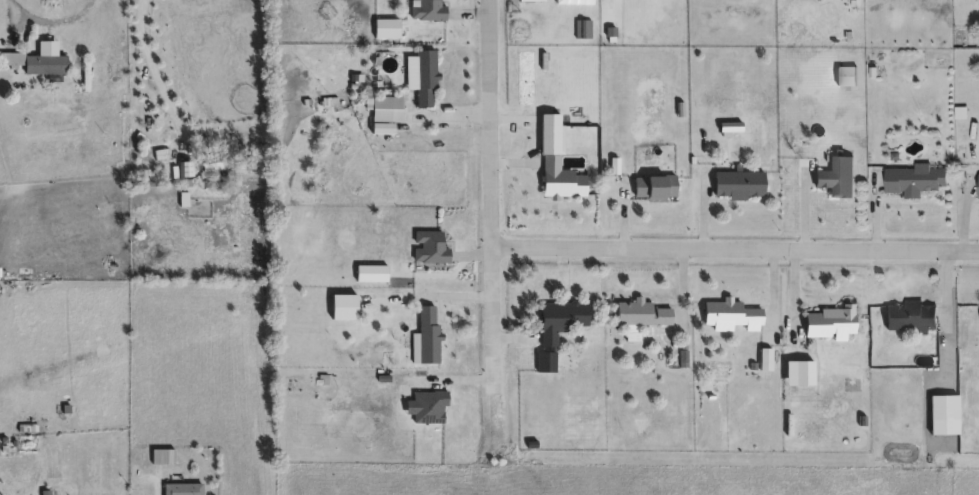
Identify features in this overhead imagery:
building: (426, 9)
road: (59, 17)
road: (158, 60)
building: (38, 62)
building: (87, 74)
building: (845, 74)
building: (426, 77)
building: (557, 159)
building: (226, 162)
building: (836, 175)
building: (913, 178)
building: (739, 183)
building: (655, 185)
building: (977, 186)
road: (709, 209)
road: (482, 226)
building: (430, 246)
road: (730, 249)
road: (779, 285)
building: (342, 305)
building: (641, 312)
road: (955, 313)
building: (729, 315)
building: (910, 315)
building: (977, 318)
building: (559, 319)
building: (830, 321)
building: (428, 333)
building: (429, 406)
building: (942, 406)
building: (163, 455)
road: (157, 485)
building: (182, 489)

